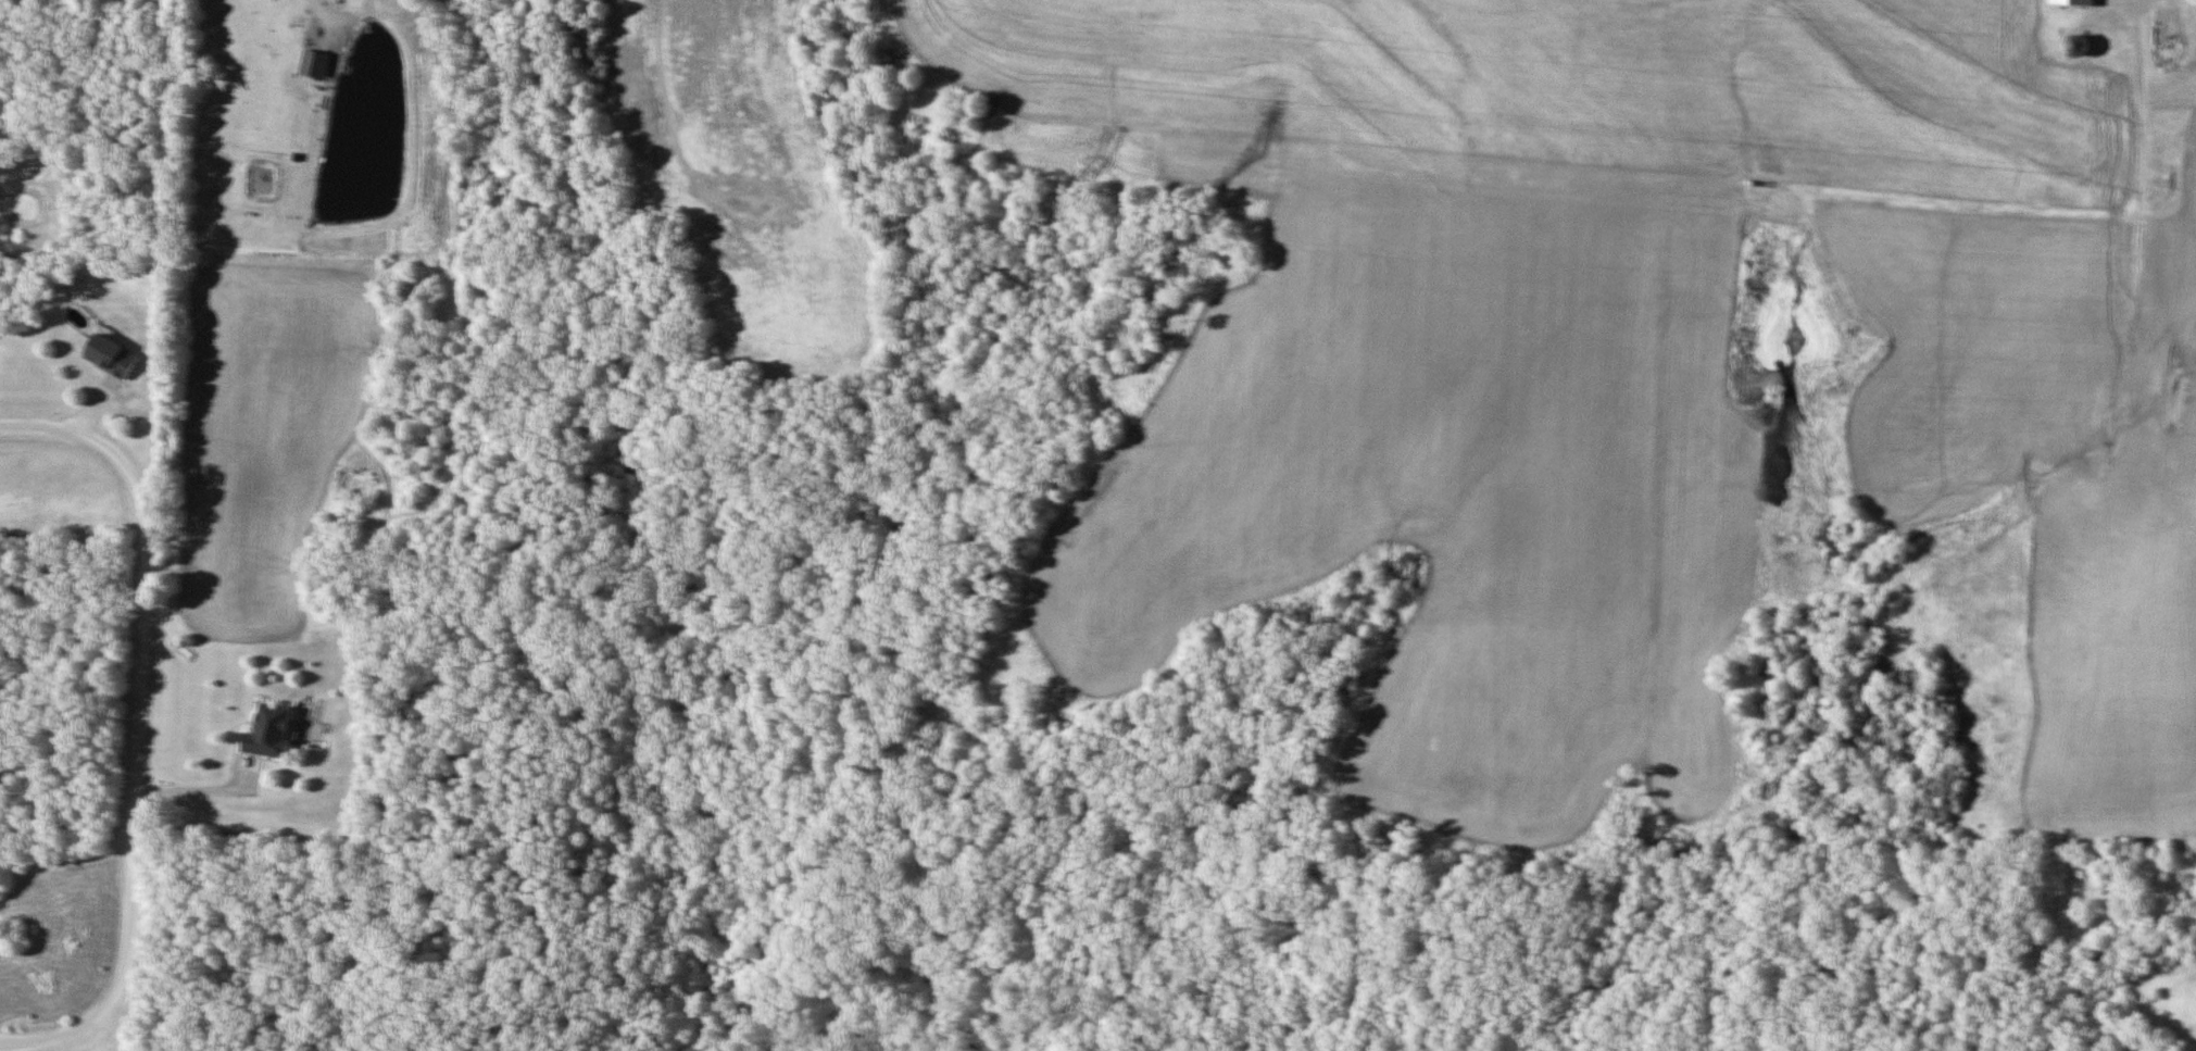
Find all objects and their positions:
building: (2072, 2)
road: (142, 726)
building: (268, 733)
road: (206, 791)

